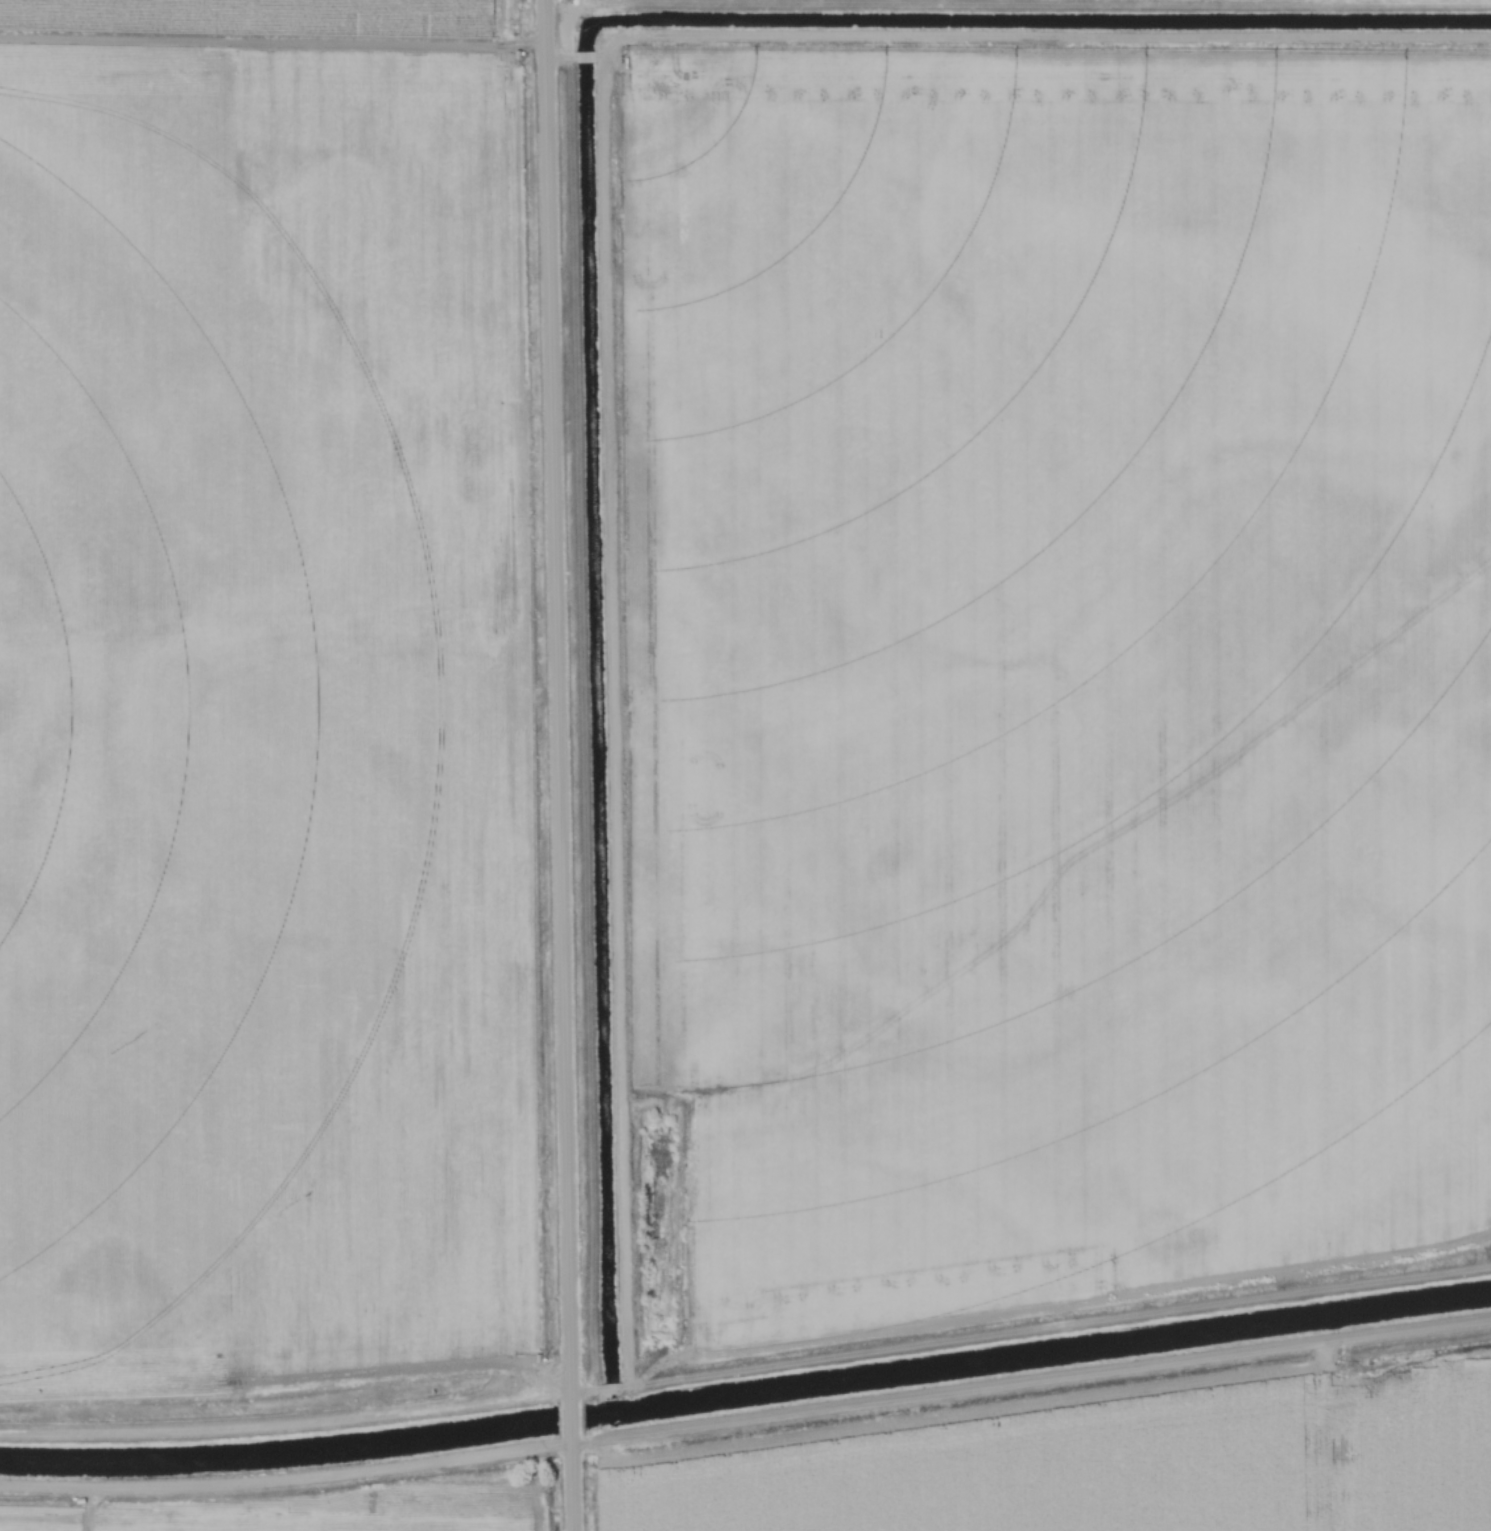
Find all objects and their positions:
crop: (262, 18)
road: (550, 699)
building: (684, 1334)
road: (1030, 1382)
road: (570, 1417)
road: (285, 1428)
crop: (1110, 1464)
road: (570, 1482)
crop: (361, 1504)
crop: (40, 1514)

